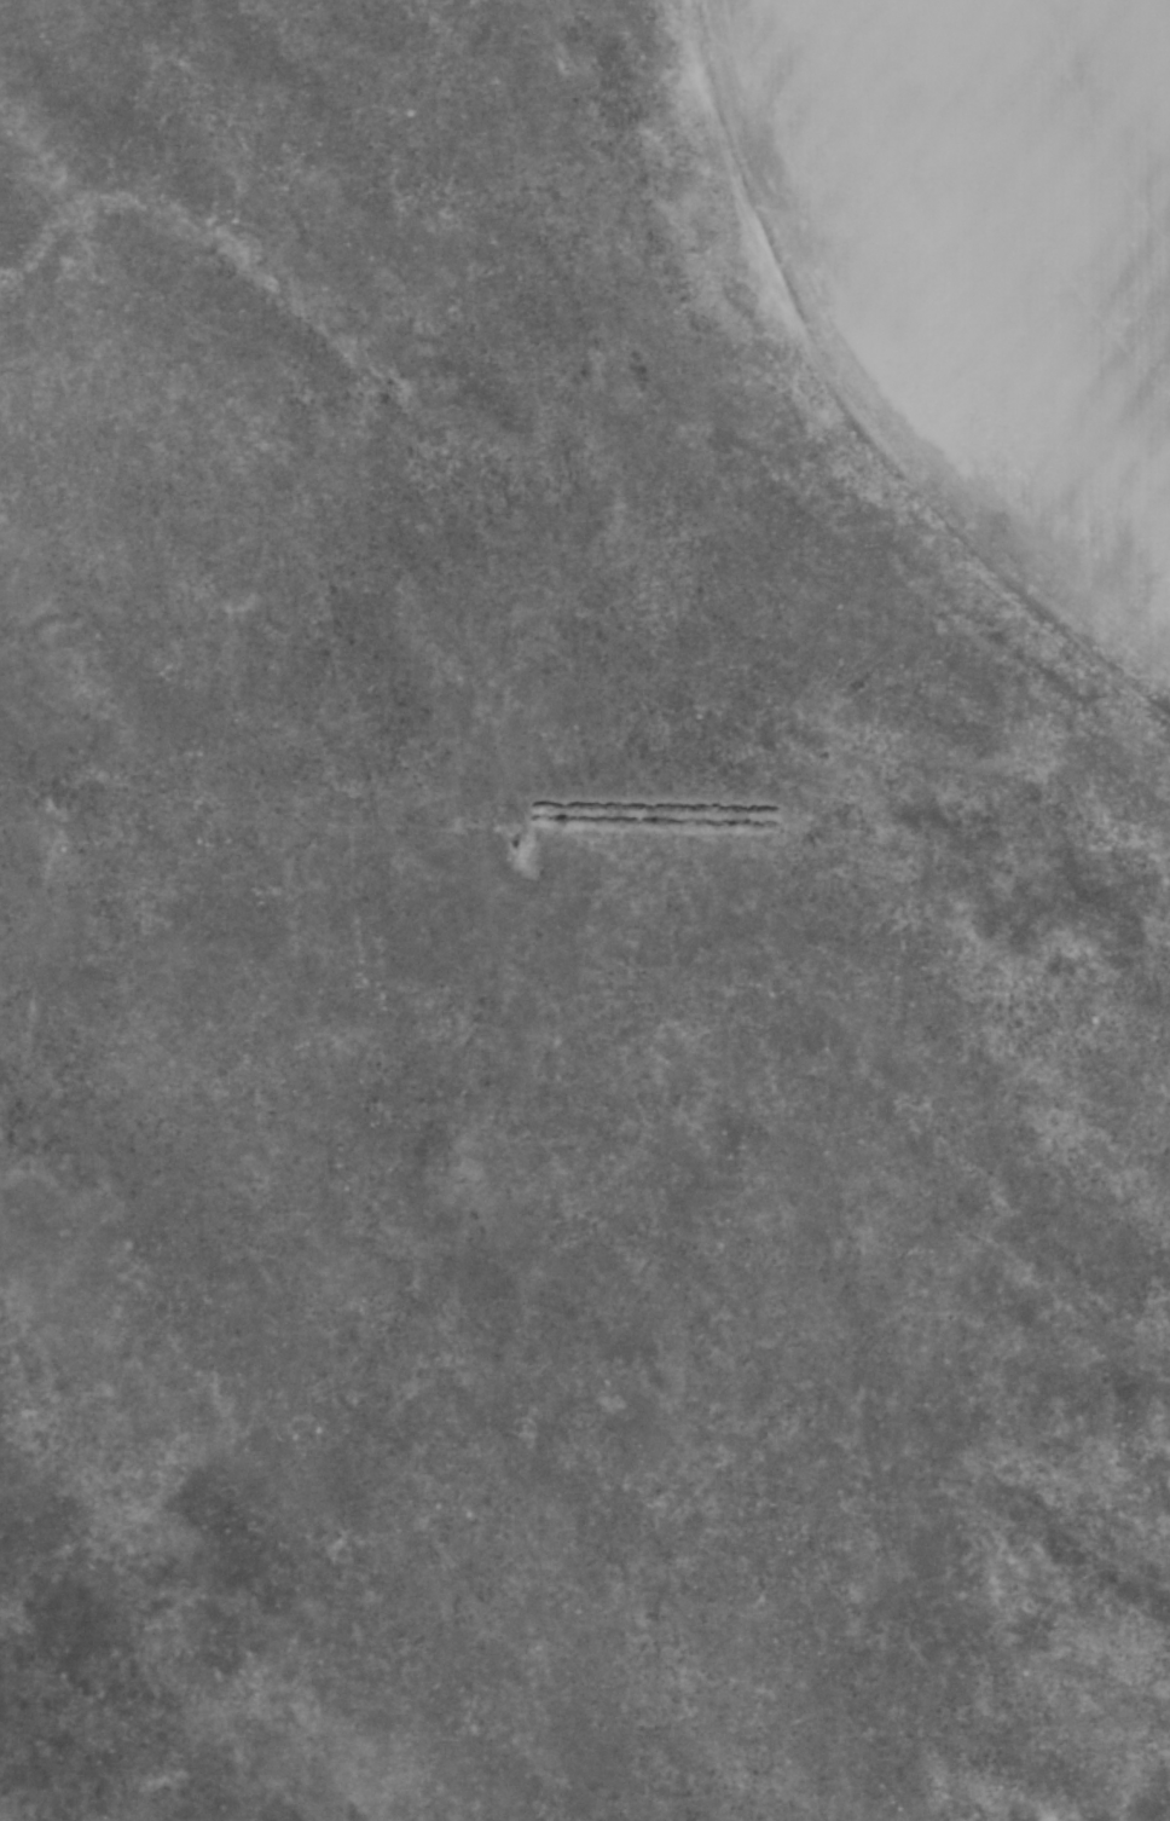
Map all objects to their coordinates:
crop: (989, 256)

